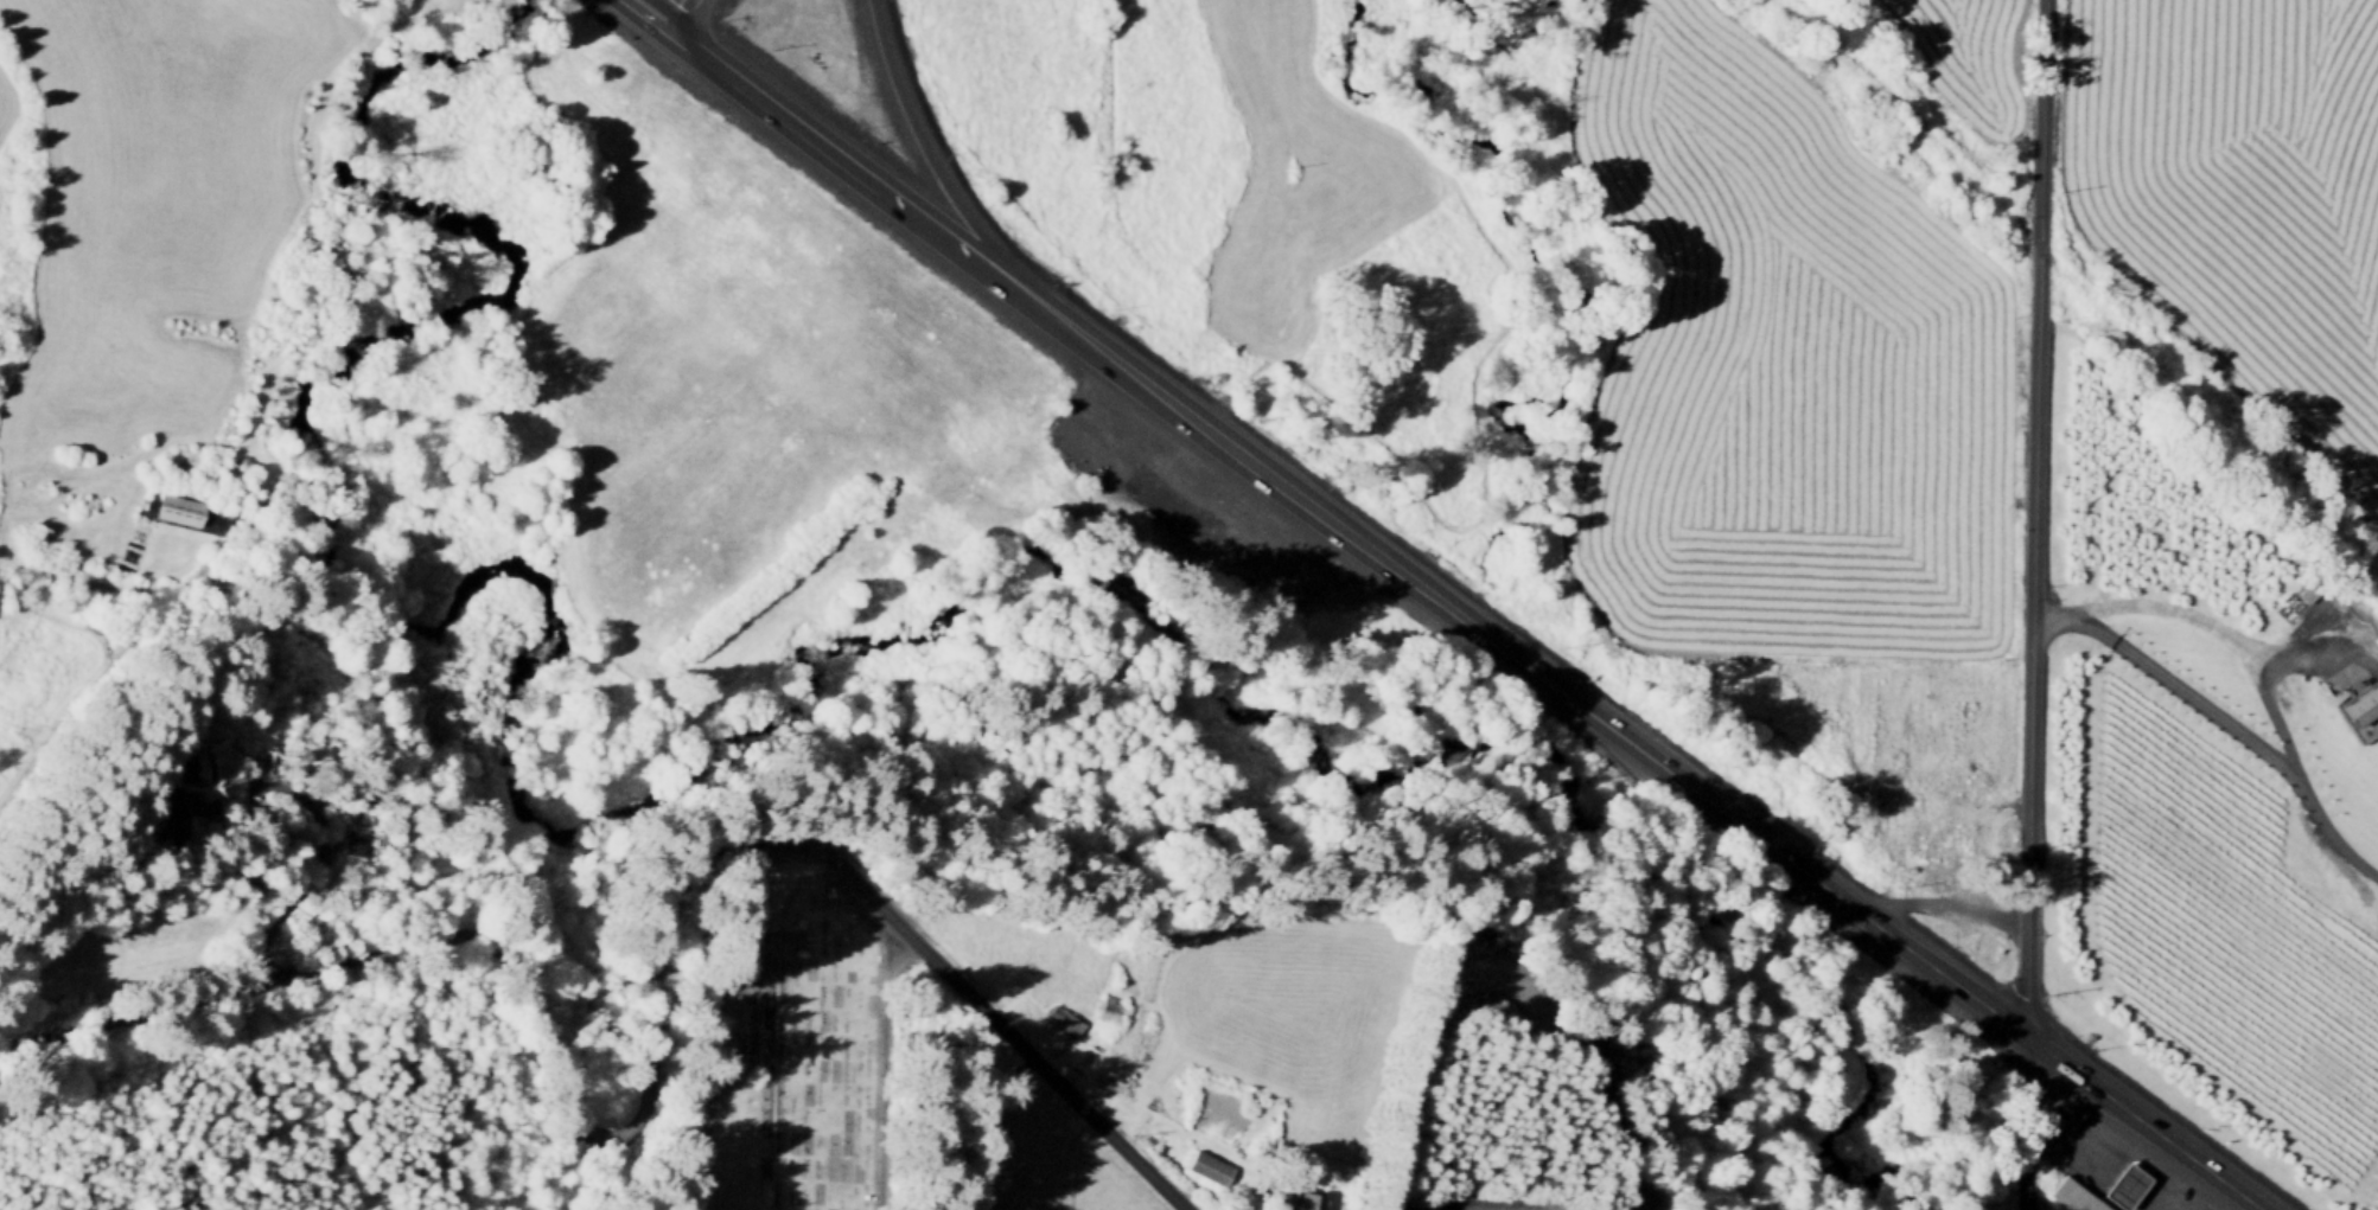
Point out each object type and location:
crop: (1502, 2)
road: (645, 14)
road: (676, 14)
road: (701, 57)
crop: (1966, 58)
road: (783, 117)
road: (933, 167)
crop: (1179, 167)
crop: (2243, 198)
road: (936, 231)
railway: (2089, 295)
crop: (1783, 369)
road: (1191, 420)
road: (1128, 440)
silo: (238, 461)
road: (1, 468)
road: (1155, 488)
parking lot: (1193, 488)
road: (961, 492)
road: (1216, 499)
building: (229, 504)
building: (177, 508)
road: (2033, 517)
building: (1199, 520)
building: (952, 523)
road: (1289, 548)
building: (882, 568)
road: (2204, 617)
road: (1466, 620)
road: (109, 661)
road: (2336, 668)
road: (2293, 679)
road: (2181, 690)
building: (2360, 706)
building: (266, 758)
road: (2291, 763)
road: (247, 767)
building: (174, 800)
road: (359, 802)
road: (1989, 807)
airport runway: (2367, 812)
building: (253, 813)
road: (345, 817)
building: (1995, 826)
building: (1983, 830)
building: (355, 839)
road: (317, 857)
building: (1932, 857)
road: (1946, 907)
crop: (2217, 933)
road: (1927, 961)
building: (1108, 1006)
road: (774, 1009)
building: (1060, 1016)
park: (783, 1045)
road: (662, 1056)
road: (873, 1067)
road: (2074, 1118)
road: (2026, 1122)
road: (984, 1123)
road: (2093, 1144)
road: (2079, 1154)
road: (2135, 1158)
road: (2072, 1160)
parking lot: (2112, 1160)
building: (1206, 1164)
road: (2131, 1170)
road: (2125, 1178)
building: (2121, 1183)
gas station: (2121, 1183)
road: (2119, 1184)
road: (1257, 1193)
road: (2166, 1193)
building: (2073, 1195)
road: (2112, 1195)
building: (1306, 1199)
road: (2165, 1201)
road: (2216, 1201)
road: (2157, 1205)
road: (2130, 1206)
road: (1485, 1208)
road: (2178, 1208)

